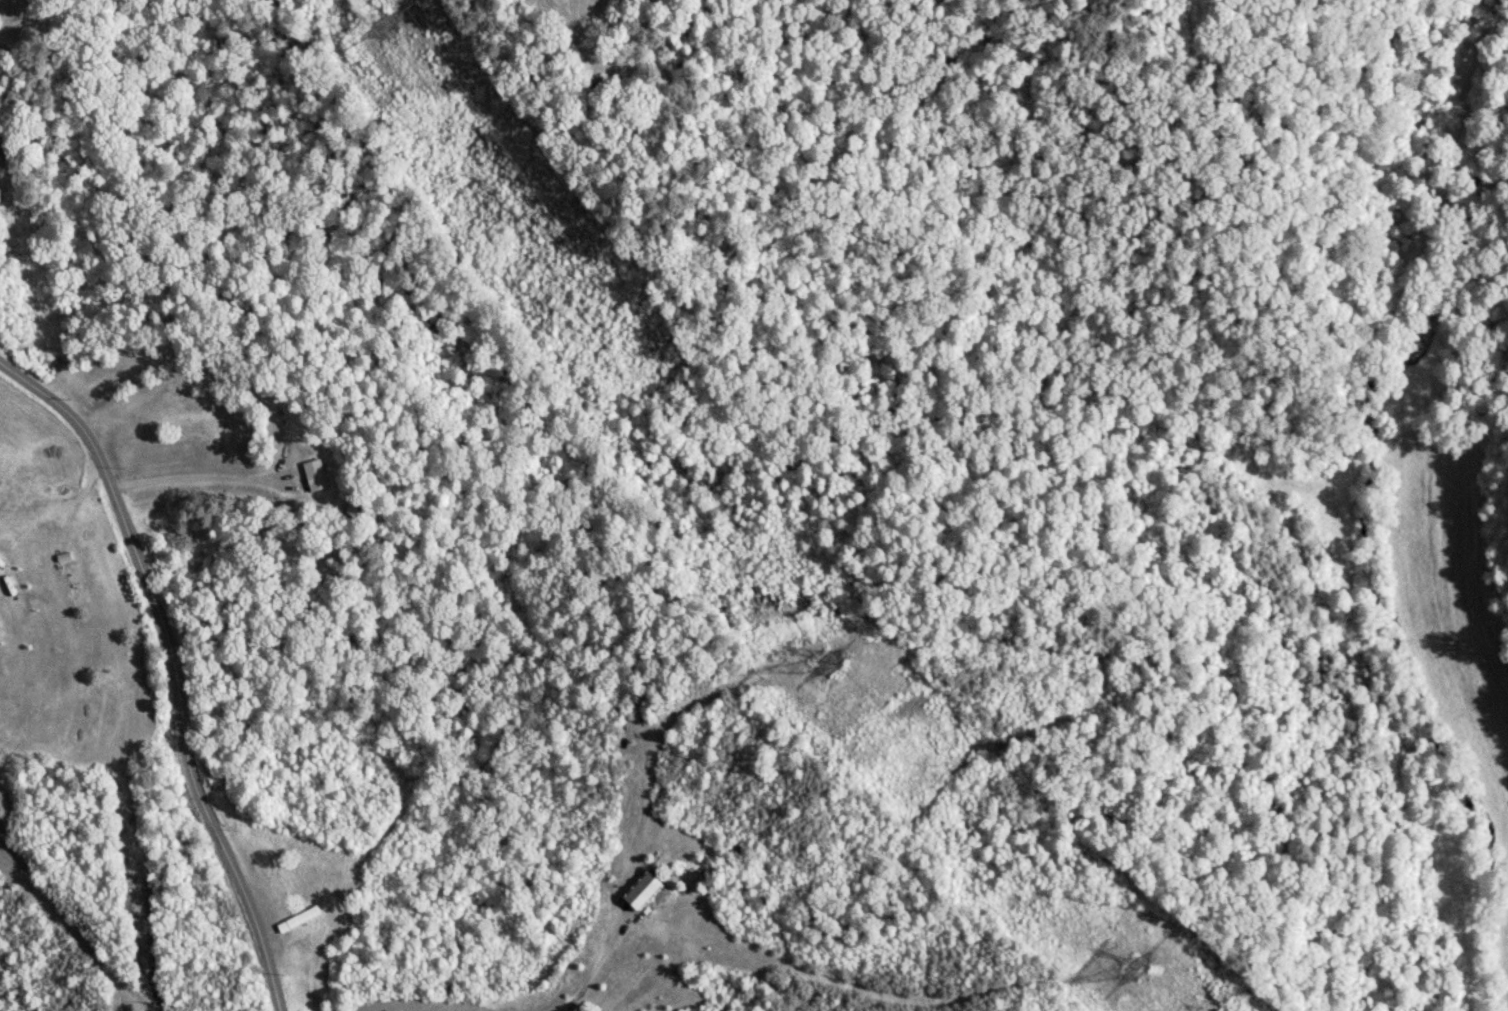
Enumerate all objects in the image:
power tower: (396, 29)
building: (316, 475)
building: (75, 590)
power tower: (829, 663)
road: (159, 671)
building: (642, 891)
power tower: (1136, 970)

